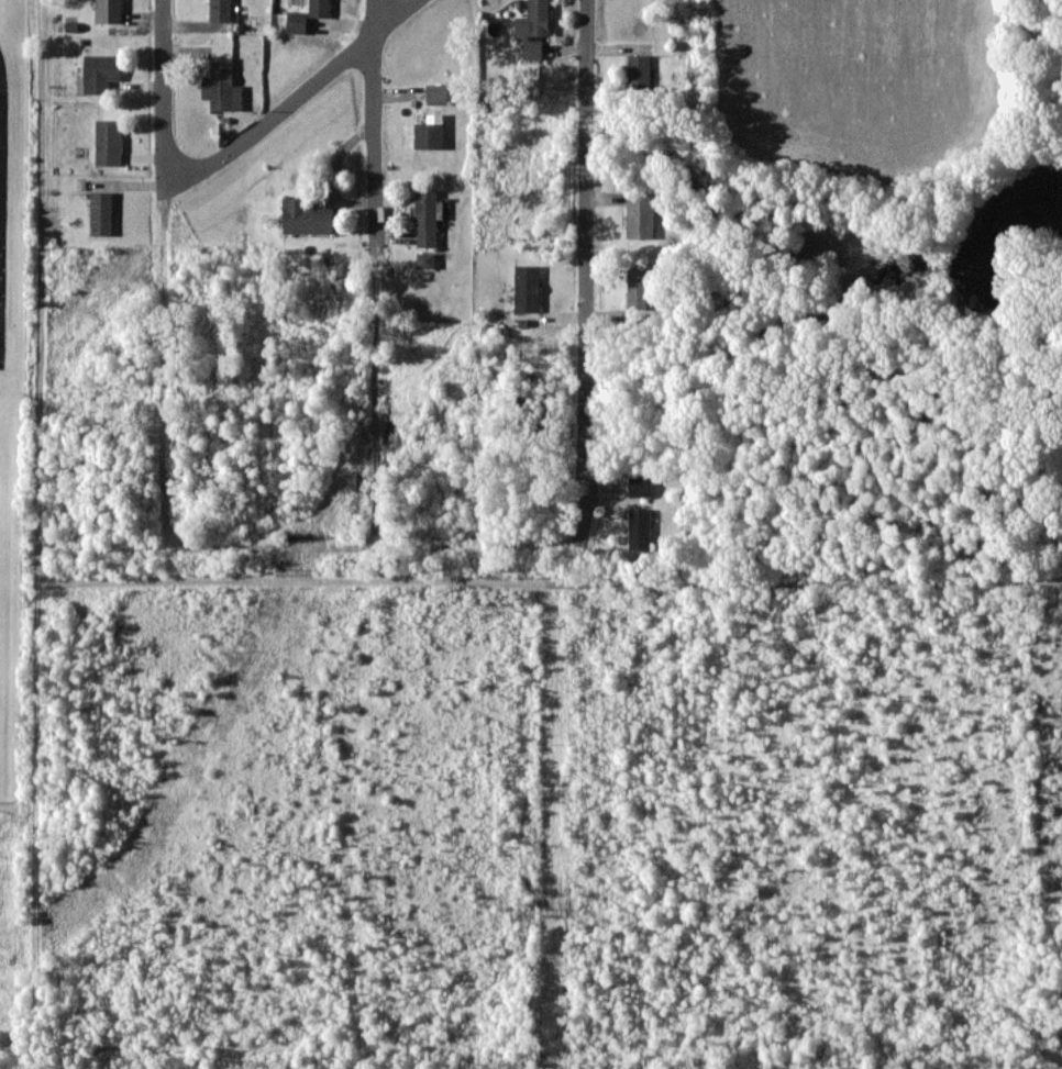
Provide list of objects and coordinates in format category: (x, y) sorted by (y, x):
building: (319, 8)
building: (220, 10)
building: (109, 11)
building: (297, 22)
building: (534, 29)
building: (639, 70)
building: (100, 73)
building: (222, 86)
building: (438, 93)
road: (292, 97)
building: (430, 132)
building: (109, 142)
track: (2, 202)
building: (101, 212)
building: (641, 215)
building: (307, 216)
building: (427, 218)
building: (427, 259)
road: (585, 267)
road: (376, 274)
road: (163, 277)
building: (527, 288)
building: (638, 288)
building: (640, 486)
building: (640, 527)
road: (373, 548)

